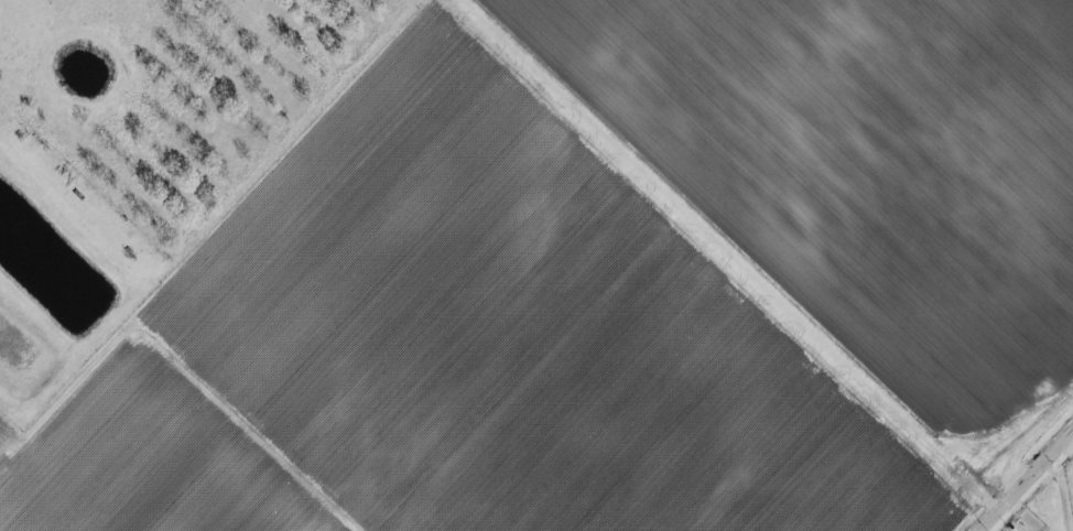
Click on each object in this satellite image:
road: (161, 388)
road: (1027, 483)

